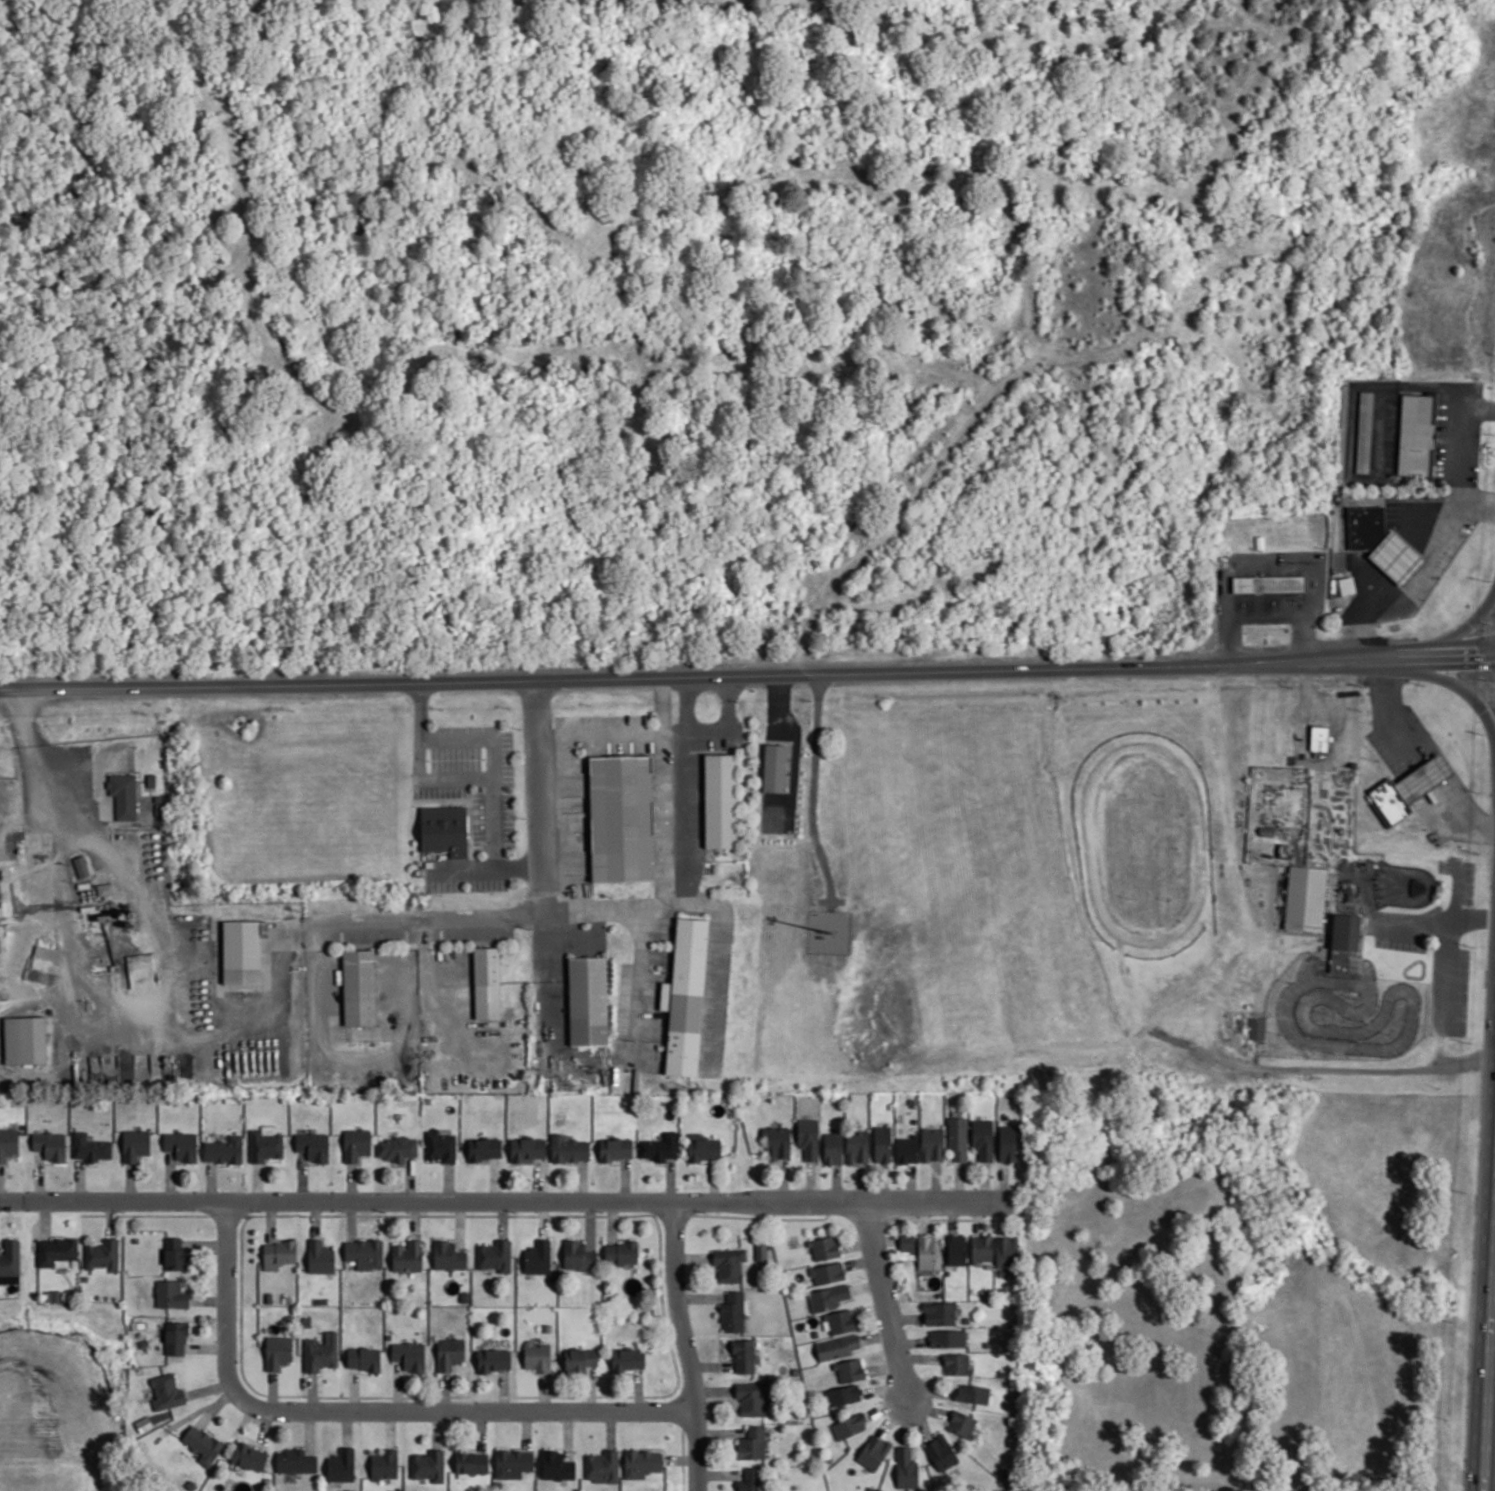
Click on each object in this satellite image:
building: (1364, 431)
building: (1417, 434)
road: (1480, 502)
building: (1382, 543)
road: (1447, 545)
building: (1268, 583)
building: (1346, 585)
road: (1442, 644)
road: (747, 675)
road: (1447, 678)
road: (1392, 716)
road: (707, 729)
road: (600, 733)
building: (1319, 740)
street lamp: (484, 757)
street lamp: (429, 758)
road: (499, 762)
road: (49, 766)
building: (775, 767)
road: (1429, 774)
road: (434, 782)
building: (1409, 788)
building: (124, 795)
building: (721, 800)
street lamp: (516, 815)
road: (1460, 815)
building: (622, 818)
road: (687, 826)
building: (444, 829)
building: (81, 866)
building: (106, 888)
street lamp: (492, 891)
theme park: (1259, 891)
street lamp: (441, 893)
building: (1305, 897)
road: (605, 908)
road: (1472, 914)
road: (1411, 924)
building: (1344, 940)
road: (1447, 944)
building: (242, 951)
road: (429, 978)
street lamp: (1289, 979)
road: (641, 980)
building: (487, 982)
road: (547, 983)
road: (283, 984)
building: (359, 987)
building: (686, 997)
street lamp: (1357, 997)
building: (588, 1000)
street lamp: (1402, 1001)
street lamp: (1325, 1010)
street lamp: (1354, 1020)
building: (1256, 1028)
street lamp: (1389, 1031)
building: (25, 1039)
street lamp: (1308, 1050)
street lamp: (1348, 1054)
building: (809, 1138)
building: (958, 1138)
building: (983, 1138)
building: (778, 1142)
building: (8, 1143)
building: (265, 1143)
building: (882, 1143)
building: (1007, 1143)
building: (135, 1144)
building: (357, 1144)
building: (932, 1144)
building: (50, 1145)
building: (182, 1145)
building: (313, 1145)
building: (441, 1146)
building: (857, 1146)
building: (91, 1147)
building: (660, 1147)
building: (704, 1147)
building: (396, 1148)
building: (485, 1148)
building: (528, 1148)
building: (833, 1148)
building: (569, 1149)
building: (616, 1149)
building: (907, 1149)
building: (224, 1150)
street lamp: (844, 1185)
road: (506, 1200)
street lamp: (996, 1213)
building: (908, 1246)
building: (824, 1247)
building: (982, 1248)
building: (956, 1249)
building: (761, 1250)
building: (57, 1251)
building: (1006, 1251)
building: (621, 1252)
building: (926, 1252)
building: (365, 1253)
building: (175, 1254)
building: (279, 1254)
building: (495, 1255)
building: (102, 1256)
building: (407, 1256)
building: (579, 1256)
building: (320, 1257)
building: (538, 1257)
building: (10, 1261)
building: (730, 1264)
building: (828, 1273)
street lamp: (865, 1276)
street lamp: (687, 1286)
building: (171, 1294)
building: (828, 1297)
road: (887, 1302)
building: (734, 1312)
building: (939, 1313)
building: (838, 1321)
building: (176, 1337)
building: (948, 1338)
road: (687, 1345)
building: (837, 1347)
building: (278, 1351)
building: (321, 1352)
building: (450, 1353)
building: (409, 1355)
building: (744, 1355)
building: (538, 1356)
building: (628, 1358)
building: (364, 1359)
building: (580, 1359)
building: (494, 1360)
road: (1493, 1362)
building: (957, 1363)
building: (850, 1370)
road: (1490, 1383)
building: (167, 1392)
building: (975, 1394)
building: (842, 1395)
building: (753, 1398)
road: (366, 1412)
building: (144, 1423)
building: (962, 1423)
building: (849, 1426)
building: (752, 1443)
building: (203, 1444)
building: (874, 1452)
building: (941, 1452)
building: (250, 1456)
building: (295, 1461)
building: (472, 1462)
building: (513, 1463)
building: (642, 1463)
building: (385, 1464)
building: (342, 1465)
building: (428, 1465)
building: (557, 1465)
building: (603, 1466)
building: (906, 1468)
building: (751, 1480)

